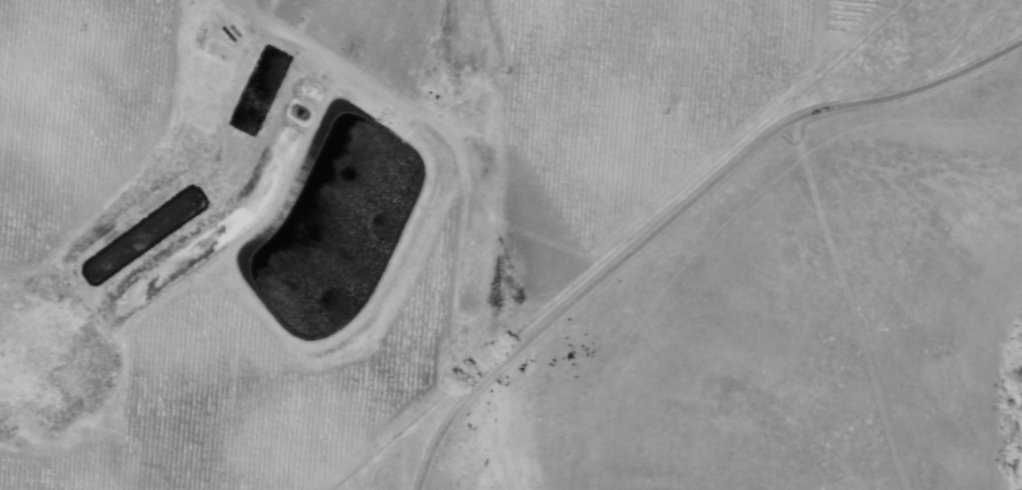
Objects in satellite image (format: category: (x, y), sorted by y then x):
road: (682, 212)

